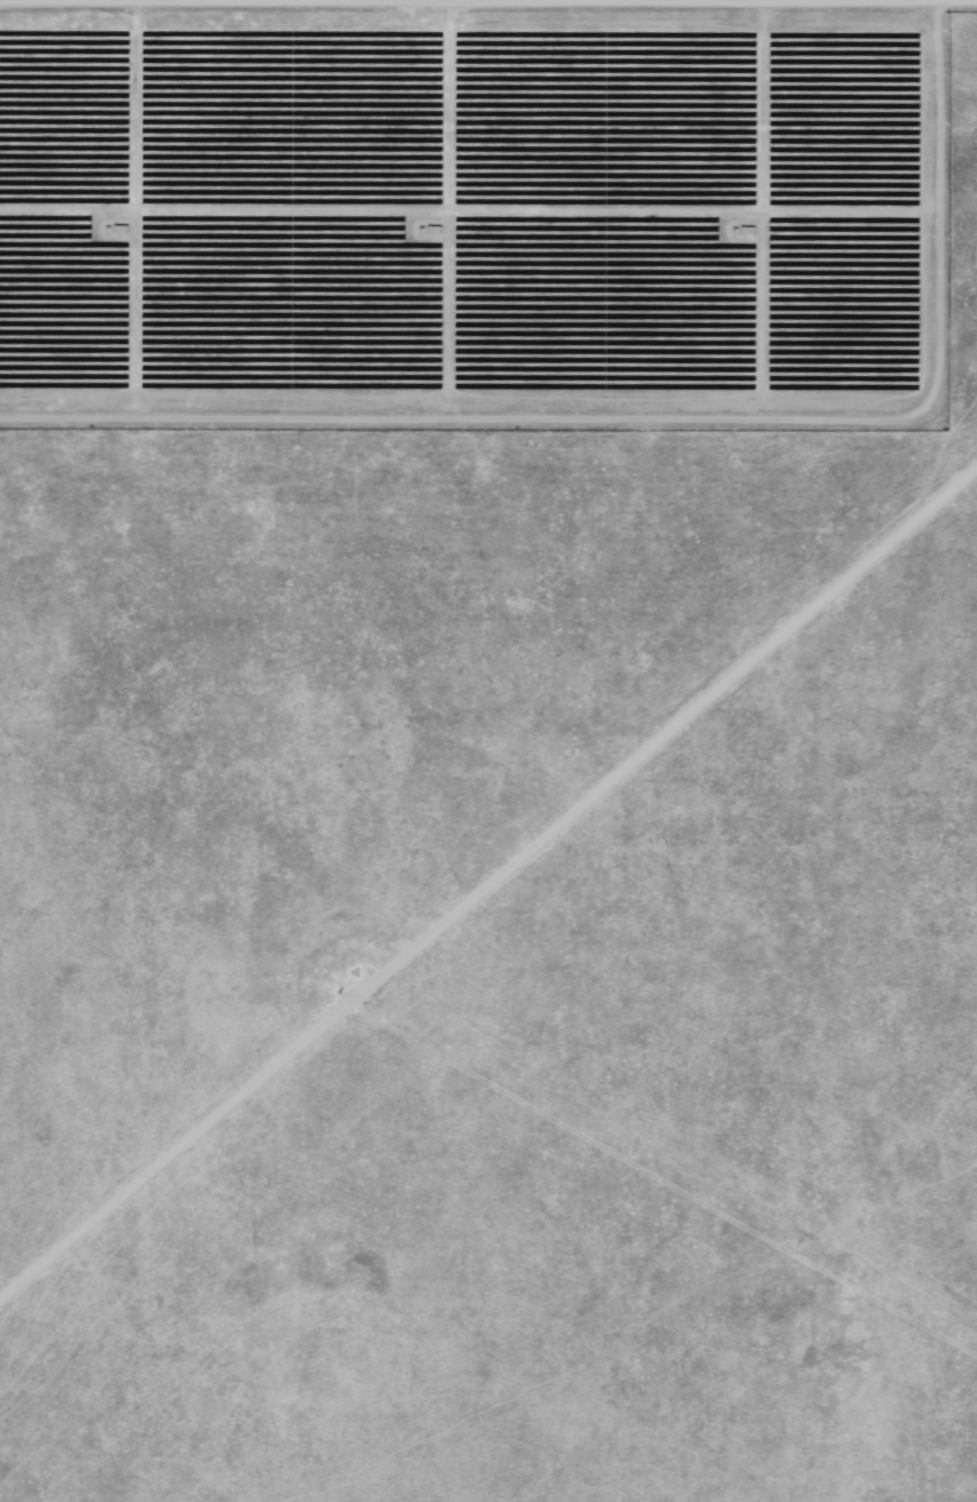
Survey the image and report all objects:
road: (488, 65)
solar farm: (488, 751)

